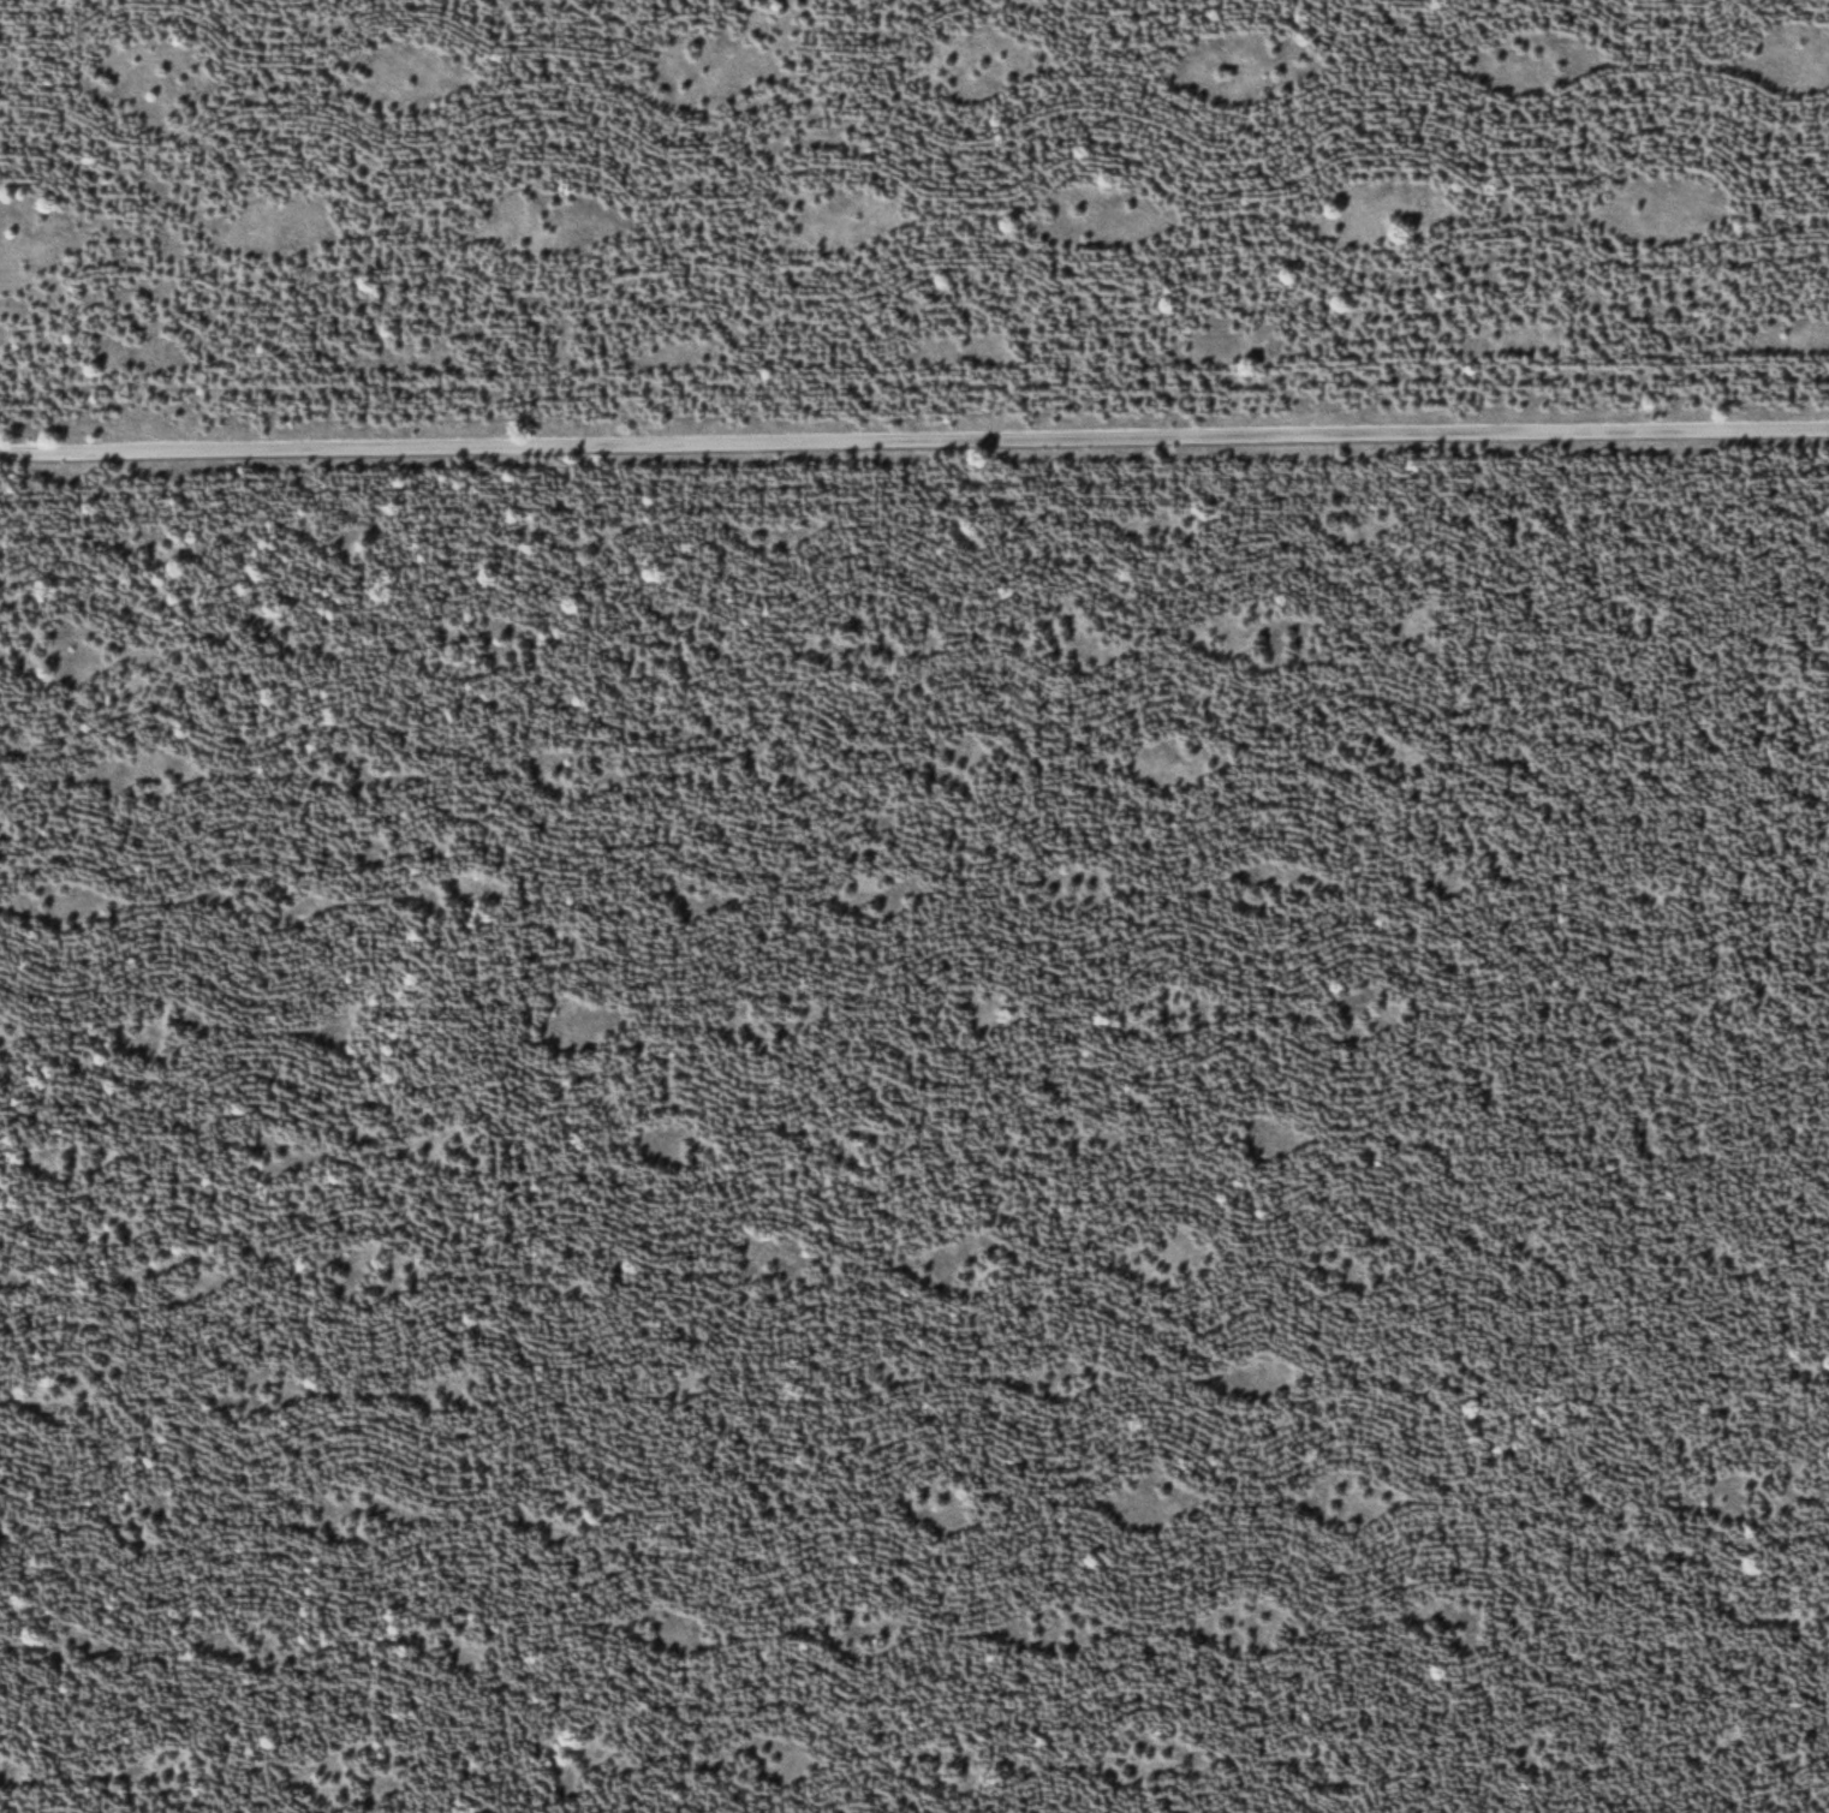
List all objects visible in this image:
road: (914, 437)

